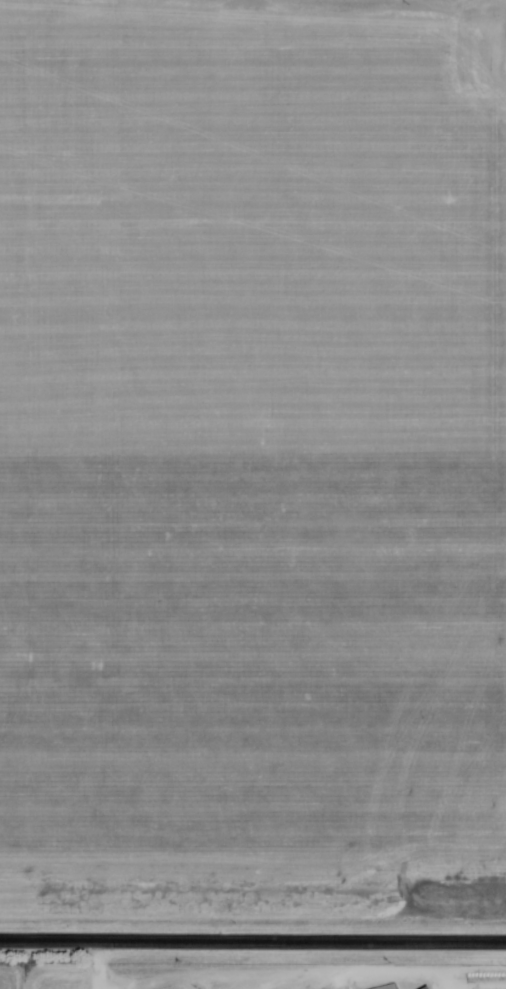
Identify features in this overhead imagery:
road: (253, 939)
building: (428, 988)

